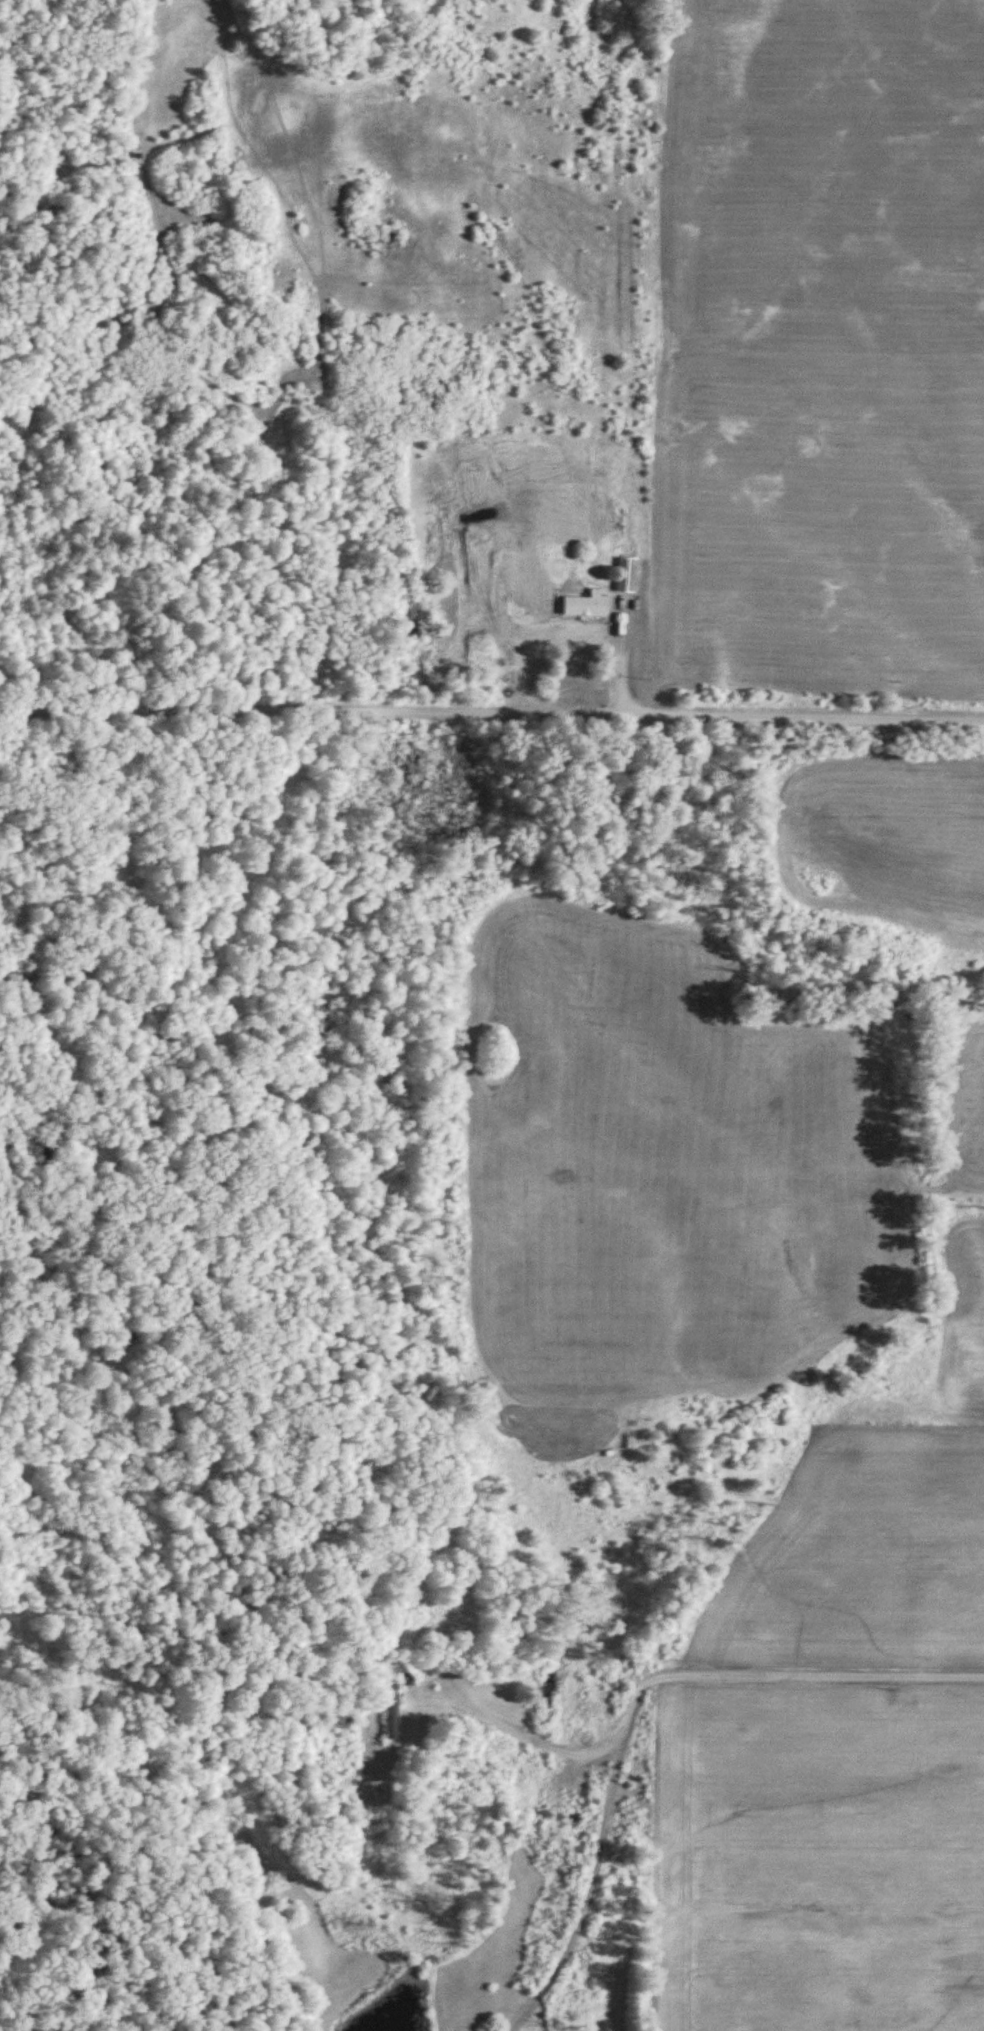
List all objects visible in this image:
building: (624, 575)
building: (584, 605)
road: (491, 712)
building: (389, 1712)

